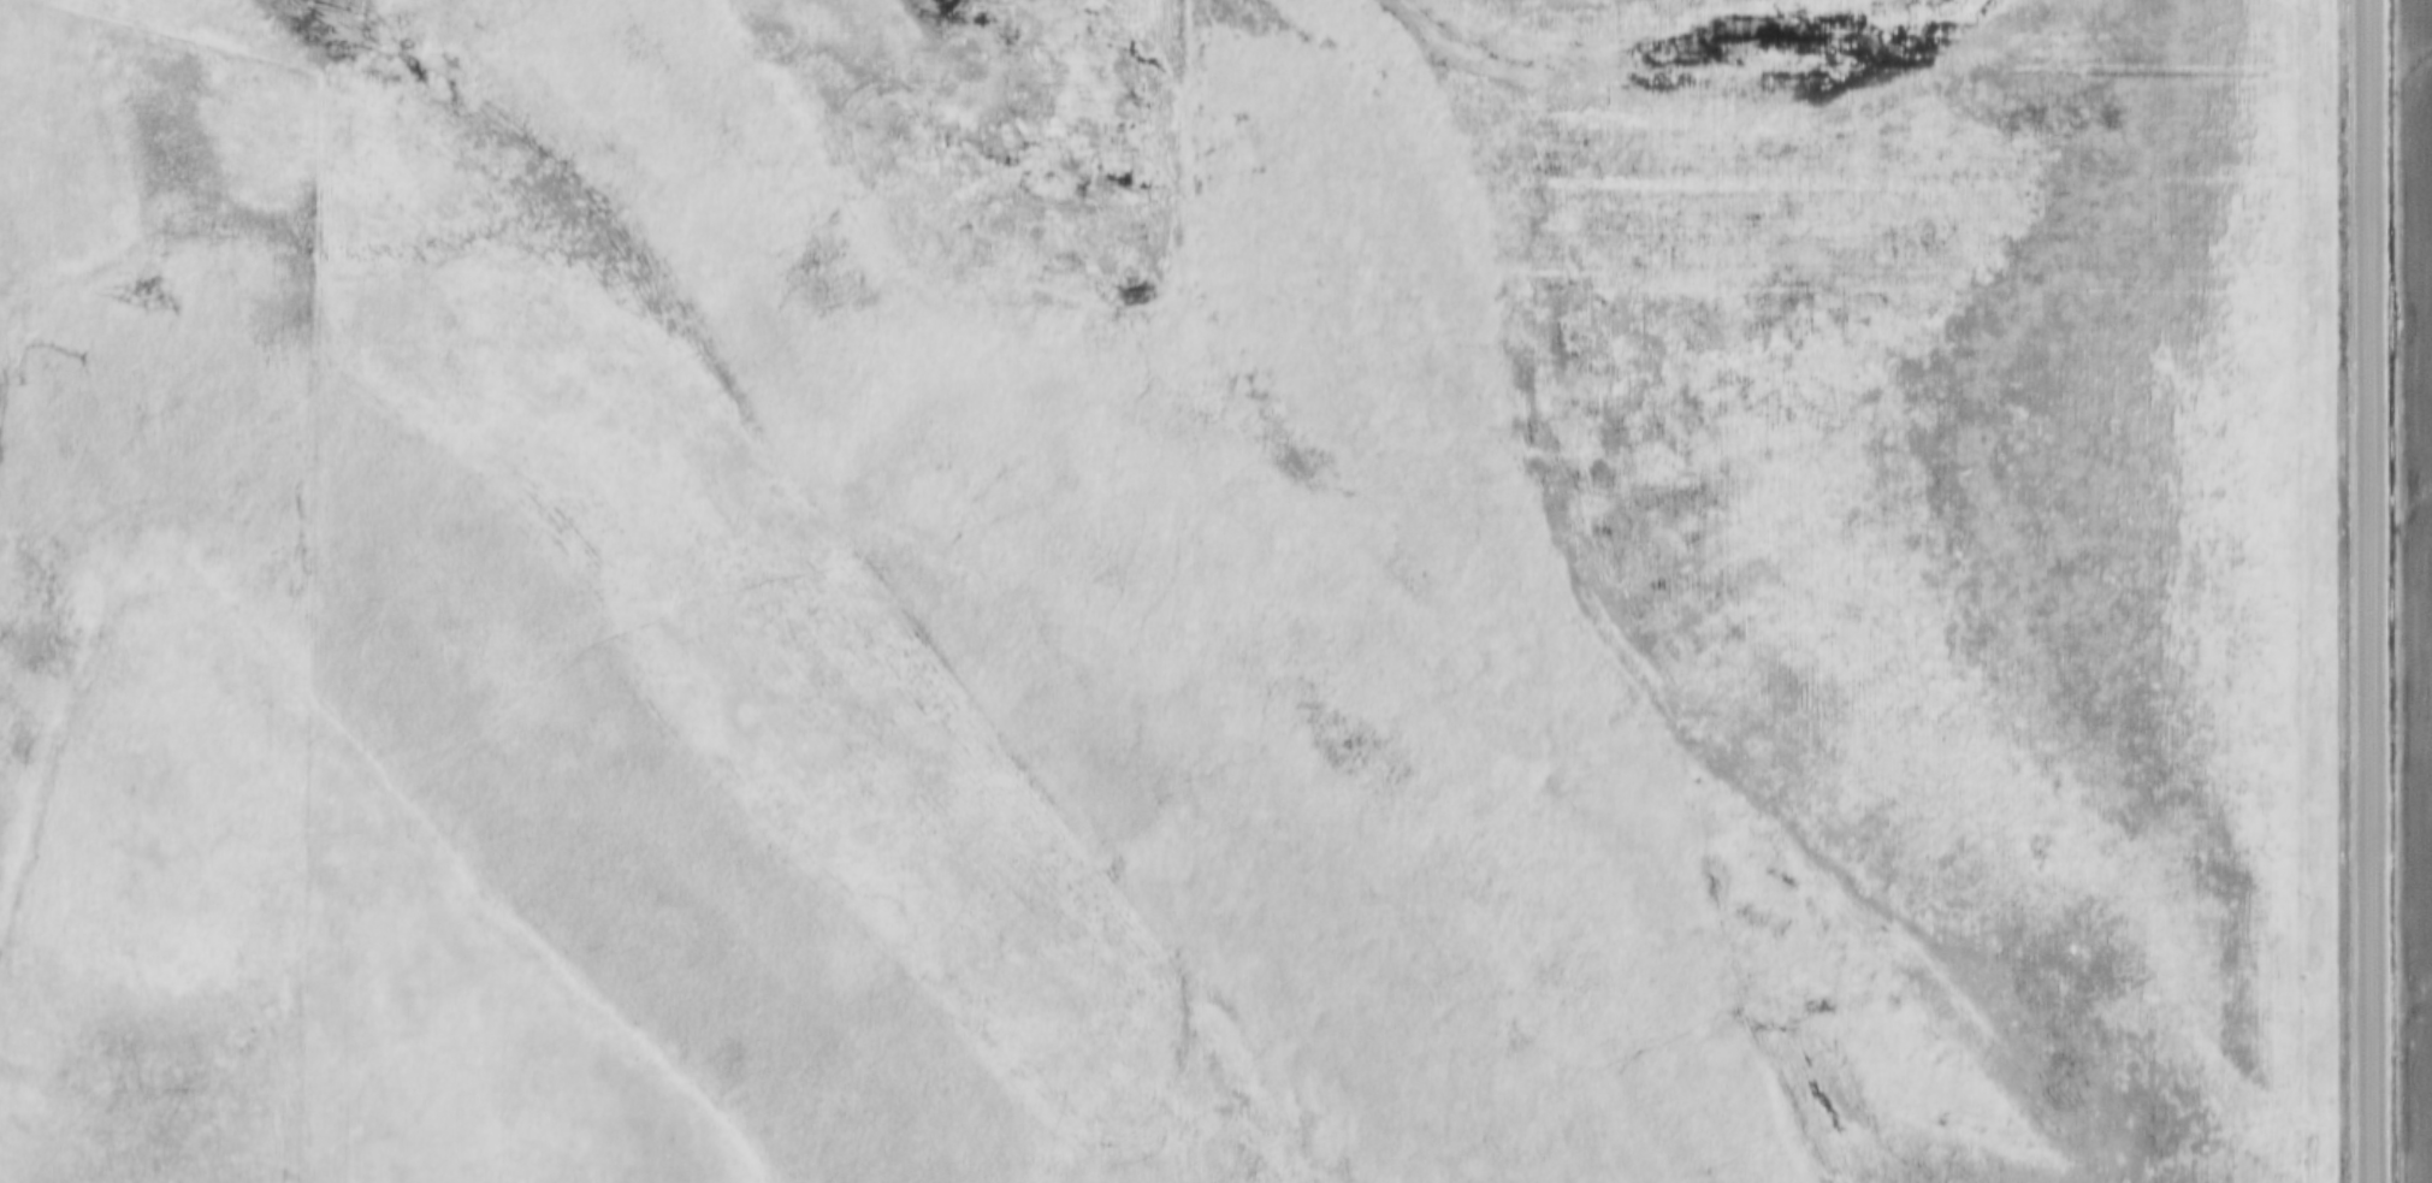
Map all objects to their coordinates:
road: (2373, 591)

